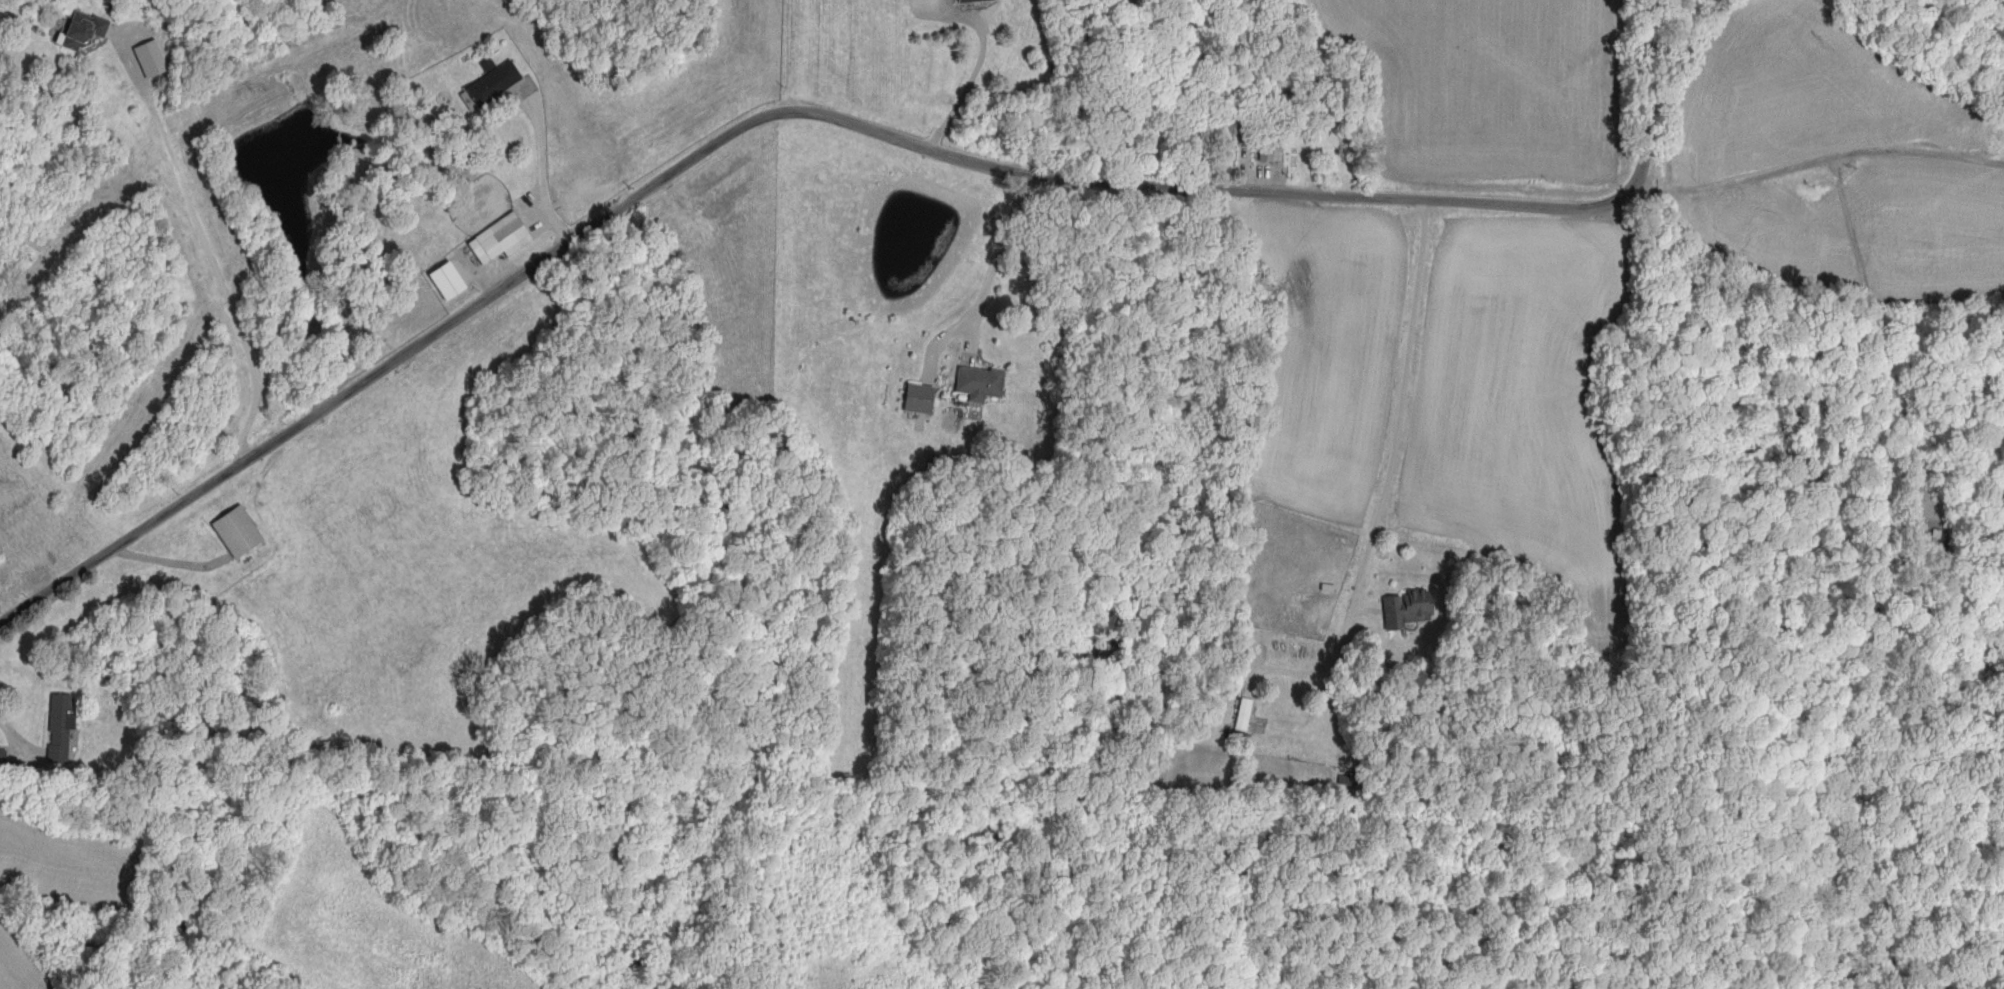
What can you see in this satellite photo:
building: (977, 1)
building: (87, 31)
building: (498, 84)
road: (969, 87)
road: (842, 120)
building: (1232, 124)
road: (1820, 138)
building: (1274, 155)
road: (543, 170)
building: (504, 240)
road: (999, 249)
road: (209, 254)
building: (984, 384)
building: (923, 400)
road: (1392, 468)
building: (241, 534)
road: (1745, 569)
building: (1410, 611)
building: (62, 730)
road: (20, 737)
building: (1242, 739)

